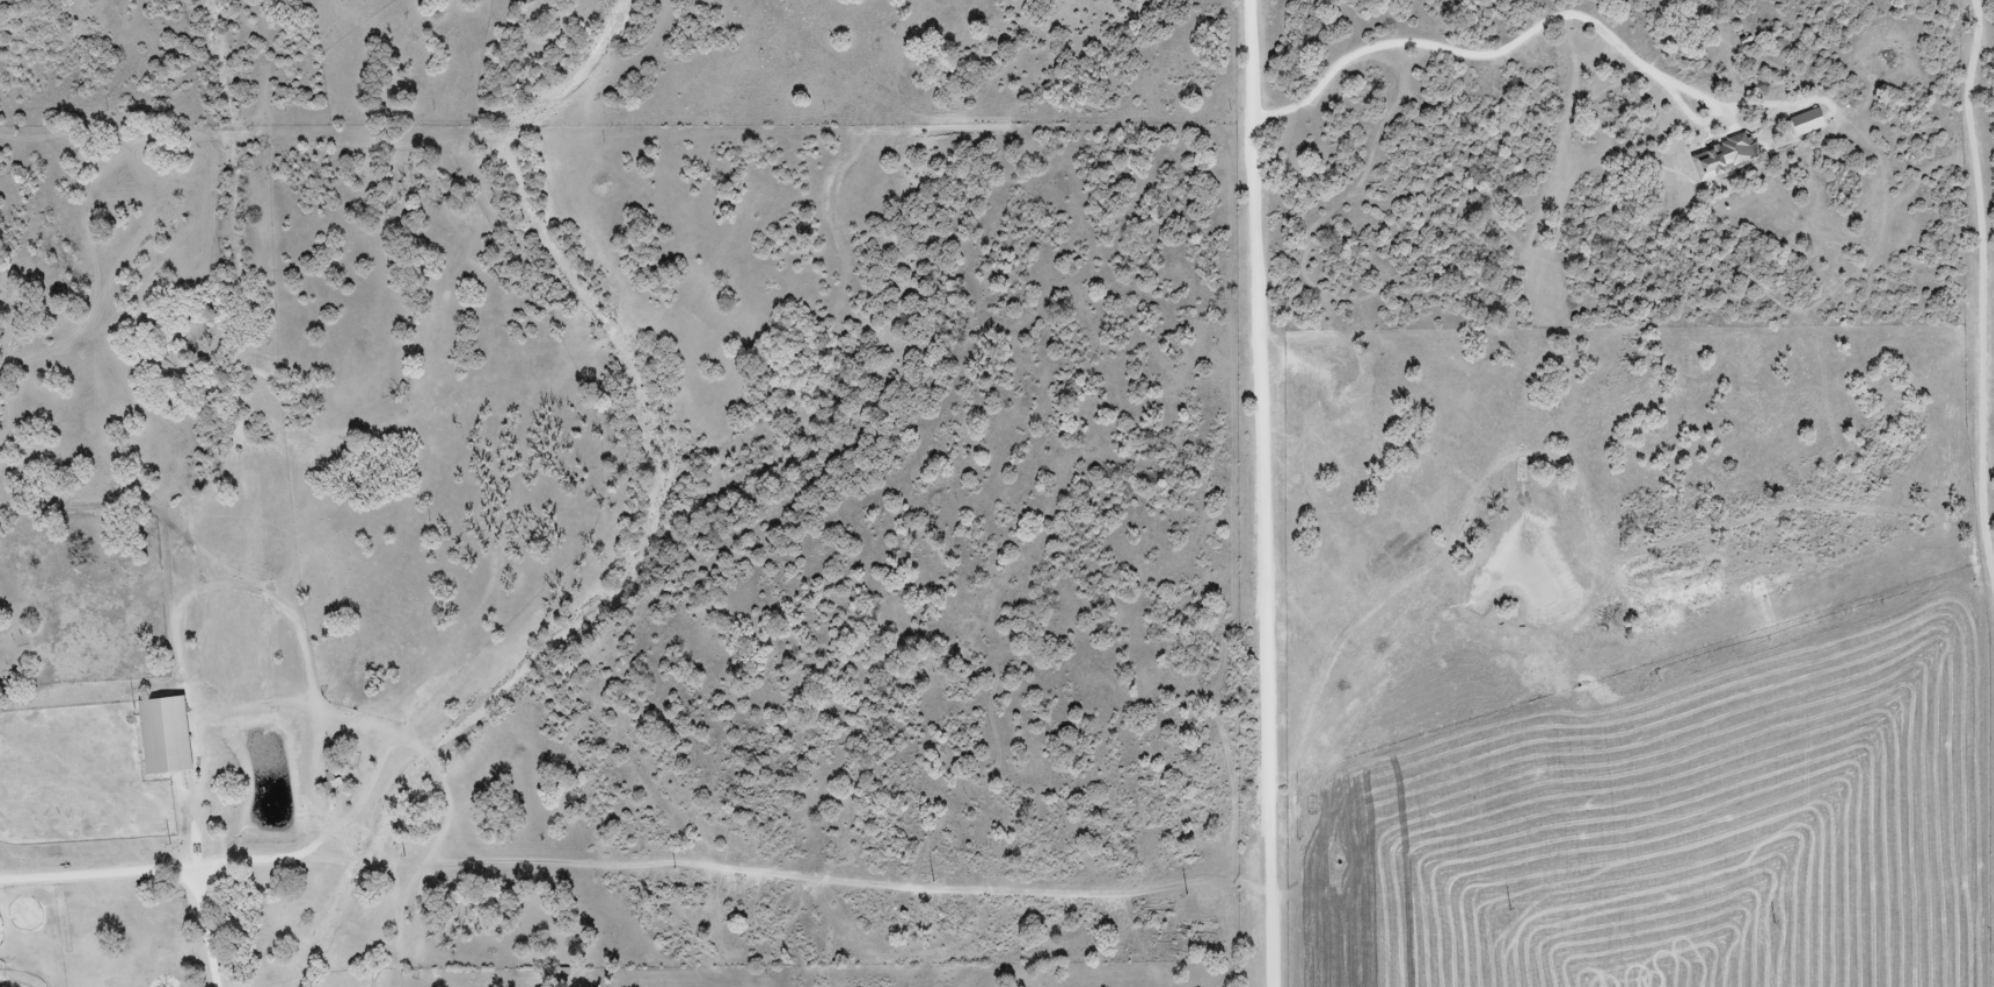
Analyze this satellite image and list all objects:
road: (1535, 29)
building: (1724, 156)
road: (1266, 493)
building: (332, 783)
power tower: (170, 843)
power tower: (404, 854)
power tower: (676, 867)
road: (149, 871)
power tower: (935, 880)
power tower: (1187, 894)
power tower: (1511, 909)
power tower: (1775, 922)

